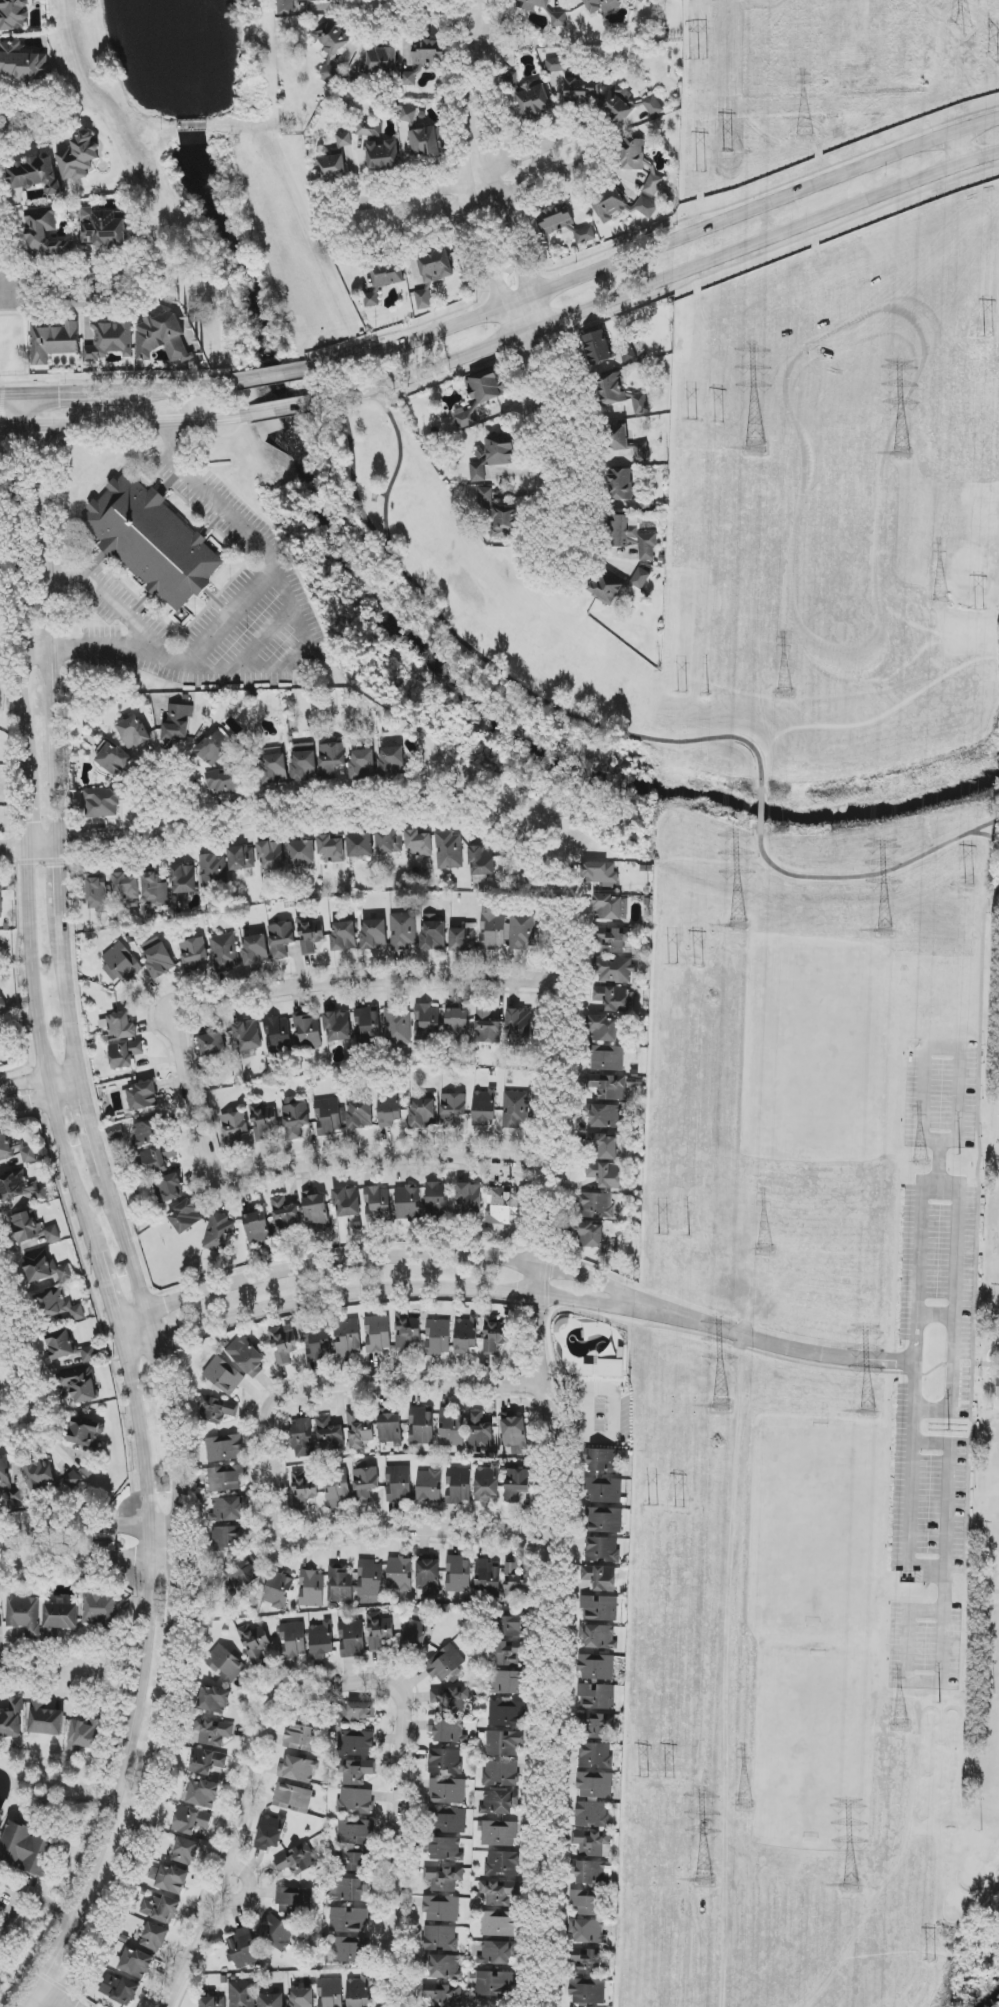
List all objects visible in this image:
road: (433, 0)
building: (537, 2)
building: (602, 5)
building: (287, 7)
building: (525, 7)
building: (14, 14)
building: (559, 19)
power tower: (962, 25)
building: (331, 37)
building: (427, 55)
building: (382, 60)
building: (22, 62)
power tower: (998, 63)
power tower: (699, 64)
building: (555, 65)
building: (331, 75)
building: (579, 88)
building: (534, 99)
building: (618, 104)
building: (653, 106)
building: (407, 115)
road: (38, 120)
dam: (190, 122)
building: (369, 128)
power tower: (805, 139)
building: (343, 142)
building: (424, 142)
road: (960, 147)
building: (633, 154)
building: (383, 156)
power tower: (730, 156)
building: (78, 157)
building: (332, 168)
building: (34, 174)
road: (476, 177)
power tower: (703, 177)
building: (653, 184)
building: (619, 204)
building: (555, 219)
building: (102, 228)
building: (44, 234)
building: (585, 235)
road: (655, 246)
building: (433, 274)
road: (495, 274)
building: (383, 280)
road: (666, 280)
road: (3, 286)
road: (136, 287)
road: (356, 291)
building: (162, 338)
power tower: (988, 339)
building: (109, 341)
building: (53, 342)
building: (597, 347)
building: (628, 355)
road: (553, 356)
road: (269, 378)
road: (173, 388)
building: (611, 389)
road: (79, 392)
road: (19, 393)
building: (639, 402)
road: (289, 408)
road: (40, 410)
road: (123, 424)
power tower: (693, 424)
power tower: (719, 428)
building: (618, 438)
building: (501, 451)
power tower: (754, 452)
building: (642, 453)
power tower: (901, 455)
building: (478, 472)
building: (621, 484)
road: (353, 492)
building: (485, 498)
building: (505, 522)
building: (633, 537)
road: (44, 539)
building: (152, 541)
road: (564, 561)
building: (616, 585)
power tower: (940, 602)
power tower: (978, 609)
road: (237, 612)
road: (98, 647)
road: (489, 668)
power tower: (684, 696)
power tower: (785, 698)
road: (50, 701)
power tower: (709, 702)
building: (177, 724)
building: (133, 732)
building: (214, 747)
building: (113, 759)
building: (331, 760)
building: (391, 761)
building: (304, 762)
building: (362, 764)
building: (275, 769)
building: (233, 782)
road: (56, 799)
building: (103, 802)
road: (169, 804)
road: (758, 811)
road: (284, 817)
road: (25, 827)
road: (979, 836)
building: (389, 842)
building: (419, 844)
building: (360, 845)
building: (331, 849)
building: (449, 851)
building: (301, 852)
building: (271, 855)
building: (241, 858)
building: (482, 860)
building: (213, 871)
building: (600, 874)
road: (871, 877)
building: (184, 880)
road: (60, 883)
power tower: (968, 887)
building: (126, 890)
building: (154, 892)
building: (97, 895)
building: (1, 901)
building: (610, 907)
building: (493, 927)
power tower: (737, 928)
building: (522, 930)
building: (403, 931)
building: (433, 933)
power tower: (885, 933)
building: (310, 934)
building: (374, 935)
building: (344, 936)
building: (281, 939)
building: (462, 940)
building: (256, 950)
building: (225, 952)
building: (193, 955)
building: (613, 956)
building: (159, 961)
building: (123, 963)
power tower: (674, 964)
power tower: (698, 965)
road: (979, 974)
road: (274, 998)
building: (612, 998)
road: (65, 1001)
building: (2, 1003)
building: (427, 1021)
building: (367, 1023)
building: (457, 1024)
building: (338, 1026)
building: (398, 1026)
building: (120, 1027)
building: (519, 1027)
building: (486, 1029)
building: (605, 1029)
building: (308, 1030)
building: (278, 1035)
building: (248, 1038)
building: (213, 1043)
building: (125, 1054)
building: (608, 1059)
road: (38, 1086)
building: (611, 1088)
building: (143, 1096)
building: (485, 1107)
building: (389, 1109)
building: (452, 1109)
building: (516, 1110)
building: (360, 1113)
building: (423, 1114)
building: (328, 1116)
building: (606, 1116)
building: (295, 1118)
building: (263, 1121)
building: (237, 1129)
road: (92, 1130)
building: (115, 1132)
building: (149, 1132)
building: (5, 1146)
building: (605, 1147)
building: (28, 1154)
power tower: (959, 1154)
road: (399, 1157)
building: (158, 1160)
power tower: (921, 1162)
building: (605, 1174)
building: (171, 1187)
building: (21, 1188)
building: (469, 1198)
building: (437, 1199)
building: (347, 1203)
building: (407, 1204)
building: (377, 1205)
building: (597, 1206)
building: (501, 1207)
building: (316, 1210)
building: (285, 1214)
building: (185, 1217)
building: (257, 1228)
building: (33, 1229)
building: (219, 1234)
building: (591, 1234)
power tower: (664, 1234)
park: (762, 1234)
power tower: (688, 1237)
power tower: (764, 1251)
road: (382, 1261)
building: (38, 1266)
building: (65, 1273)
road: (108, 1285)
road: (382, 1294)
building: (60, 1305)
road: (954, 1306)
road: (932, 1314)
road: (10, 1319)
road: (910, 1320)
building: (406, 1330)
road: (121, 1331)
building: (377, 1334)
building: (495, 1334)
building: (466, 1335)
building: (347, 1337)
building: (438, 1337)
building: (317, 1344)
building: (60, 1345)
building: (283, 1346)
building: (998, 1346)
road: (774, 1347)
road: (156, 1348)
building: (89, 1354)
building: (246, 1356)
parking lot: (930, 1365)
building: (605, 1369)
building: (223, 1376)
building: (80, 1384)
building: (997, 1387)
road: (341, 1388)
road: (29, 1398)
power tower: (721, 1408)
building: (215, 1409)
power tower: (868, 1414)
building: (421, 1426)
building: (390, 1428)
building: (359, 1429)
building: (451, 1429)
power tower: (950, 1430)
building: (479, 1431)
building: (86, 1433)
building: (514, 1433)
road: (555, 1434)
building: (329, 1435)
building: (303, 1438)
building: (224, 1448)
building: (604, 1460)
building: (4, 1474)
building: (40, 1475)
building: (226, 1478)
building: (72, 1480)
building: (487, 1483)
building: (365, 1484)
building: (398, 1484)
building: (516, 1484)
building: (429, 1486)
building: (458, 1486)
road: (949, 1487)
building: (337, 1489)
building: (304, 1490)
building: (603, 1490)
building: (16, 1496)
power tower: (654, 1506)
power tower: (679, 1506)
building: (227, 1509)
building: (604, 1520)
road: (92, 1525)
road: (420, 1530)
building: (226, 1539)
building: (602, 1550)
road: (91, 1561)
building: (400, 1574)
building: (458, 1574)
building: (243, 1576)
building: (428, 1577)
building: (600, 1577)
building: (370, 1579)
building: (515, 1579)
building: (340, 1583)
road: (181, 1585)
building: (312, 1588)
road: (972, 1588)
building: (279, 1590)
building: (99, 1608)
building: (600, 1609)
building: (24, 1615)
building: (60, 1618)
building: (515, 1625)
building: (379, 1631)
building: (414, 1636)
building: (598, 1637)
road: (150, 1639)
building: (352, 1639)
building: (293, 1640)
building: (322, 1640)
building: (254, 1642)
building: (507, 1653)
building: (445, 1663)
building: (225, 1664)
building: (596, 1667)
road: (39, 1673)
building: (506, 1682)
building: (595, 1697)
building: (451, 1699)
building: (214, 1700)
power tower: (941, 1705)
building: (356, 1713)
building: (507, 1713)
building: (45, 1719)
building: (12, 1720)
power tower: (898, 1726)
building: (448, 1731)
building: (213, 1732)
building: (85, 1733)
building: (303, 1738)
building: (356, 1743)
building: (504, 1743)
building: (595, 1756)
building: (208, 1762)
building: (445, 1762)
building: (298, 1769)
building: (357, 1772)
building: (501, 1774)
power tower: (645, 1776)
power tower: (669, 1778)
building: (595, 1785)
building: (447, 1791)
building: (203, 1794)
building: (293, 1798)
building: (355, 1801)
building: (499, 1802)
power tower: (743, 1806)
road: (403, 1808)
building: (592, 1815)
building: (191, 1820)
building: (450, 1821)
road: (240, 1827)
road: (138, 1832)
building: (271, 1832)
building: (499, 1833)
building: (355, 1843)
building: (593, 1843)
building: (27, 1848)
building: (446, 1849)
building: (185, 1851)
building: (298, 1859)
building: (503, 1864)
building: (443, 1878)
building: (170, 1879)
power tower: (703, 1882)
power tower: (850, 1886)
building: (597, 1887)
building: (348, 1889)
road: (35, 1891)
building: (294, 1901)
building: (161, 1909)
building: (441, 1909)
building: (484, 1909)
building: (348, 1920)
building: (588, 1931)
building: (276, 1933)
building: (155, 1937)
building: (441, 1938)
building: (242, 1948)
building: (351, 1950)
building: (495, 1953)
building: (136, 1963)
power tower: (930, 1963)
building: (443, 1967)
road: (52, 1968)
building: (587, 1977)
building: (495, 1984)
building: (123, 1991)
building: (358, 1992)
building: (330, 1993)
building: (241, 1994)
building: (444, 1994)
building: (301, 1998)
building: (271, 2000)
building: (212, 2002)

